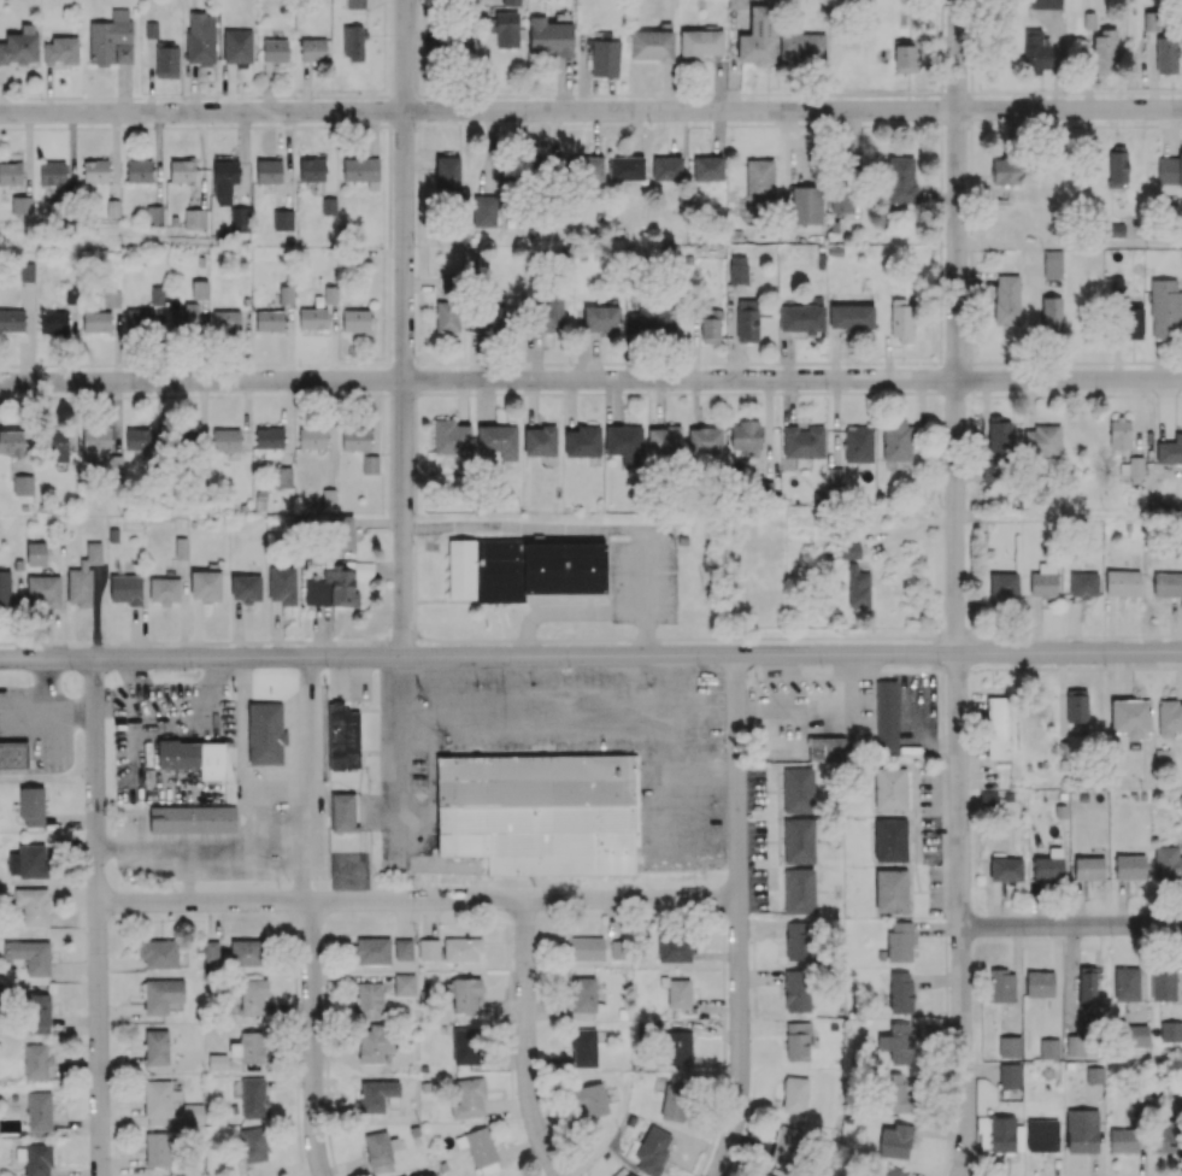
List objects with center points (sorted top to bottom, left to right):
road: (941, 1)
building: (512, 2)
building: (357, 4)
building: (736, 4)
building: (1045, 4)
road: (941, 14)
building: (1151, 22)
building: (504, 28)
building: (758, 34)
road: (417, 36)
road: (970, 36)
building: (200, 37)
building: (549, 37)
building: (112, 39)
building: (353, 42)
building: (700, 43)
building: (652, 45)
building: (19, 46)
building: (237, 46)
road: (392, 46)
building: (802, 47)
building: (275, 49)
building: (1105, 49)
building: (60, 51)
building: (312, 51)
building: (1036, 52)
building: (1168, 53)
building: (905, 54)
road: (941, 57)
building: (605, 58)
building: (166, 61)
road: (417, 82)
road: (971, 82)
road: (940, 89)
road: (1104, 90)
road: (712, 92)
road: (745, 92)
road: (984, 92)
road: (1012, 92)
road: (688, 93)
road: (781, 93)
road: (811, 93)
road: (884, 93)
road: (455, 94)
road: (582, 94)
road: (955, 94)
road: (355, 95)
road: (160, 96)
road: (940, 105)
road: (970, 106)
road: (390, 108)
road: (590, 110)
road: (957, 120)
road: (996, 122)
road: (1039, 123)
road: (343, 124)
road: (378, 124)
road: (595, 124)
road: (759, 124)
road: (827, 124)
road: (1119, 124)
road: (160, 125)
road: (971, 153)
road: (941, 158)
building: (1117, 166)
building: (1180, 166)
building: (545, 167)
building: (586, 167)
building: (625, 167)
building: (668, 167)
building: (707, 167)
building: (312, 169)
building: (95, 170)
building: (139, 170)
building: (182, 170)
building: (1005, 170)
building: (1166, 170)
building: (11, 171)
building: (269, 171)
building: (363, 171)
building: (52, 172)
building: (448, 177)
building: (759, 178)
building: (900, 178)
building: (224, 181)
building: (842, 199)
road: (418, 201)
building: (22, 204)
building: (806, 204)
road: (970, 205)
building: (329, 206)
road: (941, 207)
building: (484, 210)
building: (154, 214)
building: (195, 218)
building: (239, 218)
building: (283, 219)
road: (388, 243)
road: (1069, 245)
road: (940, 247)
road: (970, 255)
building: (1052, 263)
building: (739, 269)
building: (1117, 282)
road: (418, 286)
building: (199, 289)
building: (330, 294)
road: (940, 295)
building: (111, 298)
building: (1006, 299)
building: (1165, 308)
building: (148, 312)
building: (447, 312)
building: (552, 312)
road: (970, 313)
building: (183, 316)
building: (802, 316)
building: (851, 316)
building: (1052, 316)
building: (653, 317)
building: (312, 318)
building: (601, 318)
building: (12, 319)
building: (269, 319)
building: (355, 319)
building: (901, 319)
building: (96, 321)
building: (225, 321)
building: (747, 321)
building: (1133, 321)
building: (52, 322)
road: (417, 325)
building: (710, 325)
road: (955, 328)
road: (405, 329)
road: (939, 337)
road: (970, 352)
road: (989, 361)
road: (1036, 361)
road: (1113, 361)
road: (1171, 361)
road: (184, 363)
road: (317, 363)
road: (449, 363)
road: (496, 363)
road: (570, 363)
road: (657, 363)
road: (815, 363)
road: (954, 363)
road: (10, 364)
road: (48, 364)
road: (101, 364)
road: (1, 365)
road: (375, 378)
road: (590, 380)
road: (499, 392)
road: (594, 392)
road: (742, 392)
road: (886, 392)
road: (919, 392)
road: (952, 393)
road: (198, 394)
road: (329, 394)
road: (377, 394)
road: (1083, 394)
road: (1096, 394)
road: (61, 395)
road: (986, 395)
road: (1016, 395)
road: (1037, 395)
road: (1064, 395)
road: (1143, 395)
road: (10, 396)
road: (416, 416)
building: (1119, 434)
building: (745, 435)
building: (999, 435)
building: (269, 436)
building: (312, 437)
building: (355, 437)
building: (451, 437)
building: (182, 439)
building: (225, 439)
building: (499, 440)
building: (540, 440)
building: (664, 440)
building: (704, 440)
building: (896, 440)
building: (1042, 440)
building: (13, 441)
building: (141, 441)
building: (583, 441)
building: (802, 441)
building: (96, 443)
building: (858, 443)
building: (58, 445)
road: (416, 445)
building: (1170, 449)
building: (281, 476)
building: (835, 477)
building: (23, 484)
building: (763, 488)
building: (329, 496)
road: (1069, 514)
building: (341, 534)
road: (414, 546)
building: (181, 547)
building: (851, 549)
building: (36, 553)
building: (523, 569)
building: (83, 576)
building: (1043, 580)
building: (1123, 582)
building: (1084, 583)
building: (1168, 583)
building: (205, 584)
building: (282, 584)
building: (1004, 584)
building: (336, 586)
building: (4, 587)
building: (858, 587)
building: (125, 588)
building: (246, 588)
building: (43, 589)
building: (164, 590)
road: (1104, 635)
road: (977, 636)
road: (1007, 636)
road: (842, 637)
road: (401, 639)
road: (576, 639)
road: (743, 639)
road: (217, 640)
road: (30, 642)
road: (10, 643)
road: (590, 657)
road: (40, 693)
road: (52, 702)
building: (1075, 713)
road: (46, 717)
building: (886, 717)
building: (1130, 717)
building: (1169, 717)
road: (822, 722)
road: (553, 729)
building: (998, 729)
building: (265, 734)
building: (342, 736)
building: (825, 748)
building: (13, 754)
building: (194, 757)
road: (304, 780)
building: (889, 788)
building: (799, 789)
building: (982, 801)
building: (31, 805)
building: (342, 811)
building: (540, 812)
building: (193, 818)
road: (201, 840)
building: (799, 840)
building: (890, 840)
building: (29, 862)
building: (1168, 862)
building: (1048, 865)
building: (1130, 866)
building: (1089, 868)
building: (1006, 869)
building: (799, 890)
building: (890, 890)
road: (421, 902)
building: (34, 905)
road: (960, 916)
road: (741, 917)
road: (101, 918)
road: (1071, 929)
building: (796, 940)
building: (900, 941)
building: (586, 947)
building: (675, 947)
building: (402, 948)
building: (428, 948)
building: (461, 948)
building: (211, 951)
building: (372, 951)
building: (246, 952)
building: (158, 953)
building: (30, 955)
building: (1163, 982)
building: (405, 983)
building: (1040, 983)
building: (1127, 983)
building: (1002, 984)
building: (1087, 987)
building: (796, 989)
building: (901, 992)
building: (463, 993)
building: (678, 993)
building: (161, 994)
building: (583, 994)
building: (252, 995)
building: (370, 1000)
building: (36, 1012)
building: (1170, 1030)
building: (1134, 1035)
road: (312, 1040)
building: (799, 1040)
road: (530, 1041)
building: (375, 1042)
building: (899, 1042)
building: (465, 1045)
building: (1076, 1045)
building: (1010, 1046)
building: (155, 1047)
building: (249, 1047)
building: (583, 1047)
building: (677, 1047)
building: (1049, 1047)
building: (39, 1062)
building: (217, 1062)
building: (1010, 1075)
building: (1095, 1075)
building: (895, 1092)
building: (376, 1094)
building: (795, 1094)
building: (253, 1096)
building: (469, 1098)
building: (676, 1098)
building: (590, 1100)
building: (39, 1110)
building: (193, 1113)
building: (1082, 1130)
building: (1005, 1134)
building: (1165, 1136)
building: (1042, 1137)
building: (895, 1140)
building: (1123, 1140)
building: (254, 1143)
building: (786, 1143)
building: (158, 1148)
building: (480, 1148)
building: (653, 1149)
building: (378, 1151)
building: (35, 1159)
building: (890, 1172)
building: (629, 1174)
building: (406, 1175)
building: (765, 1175)

